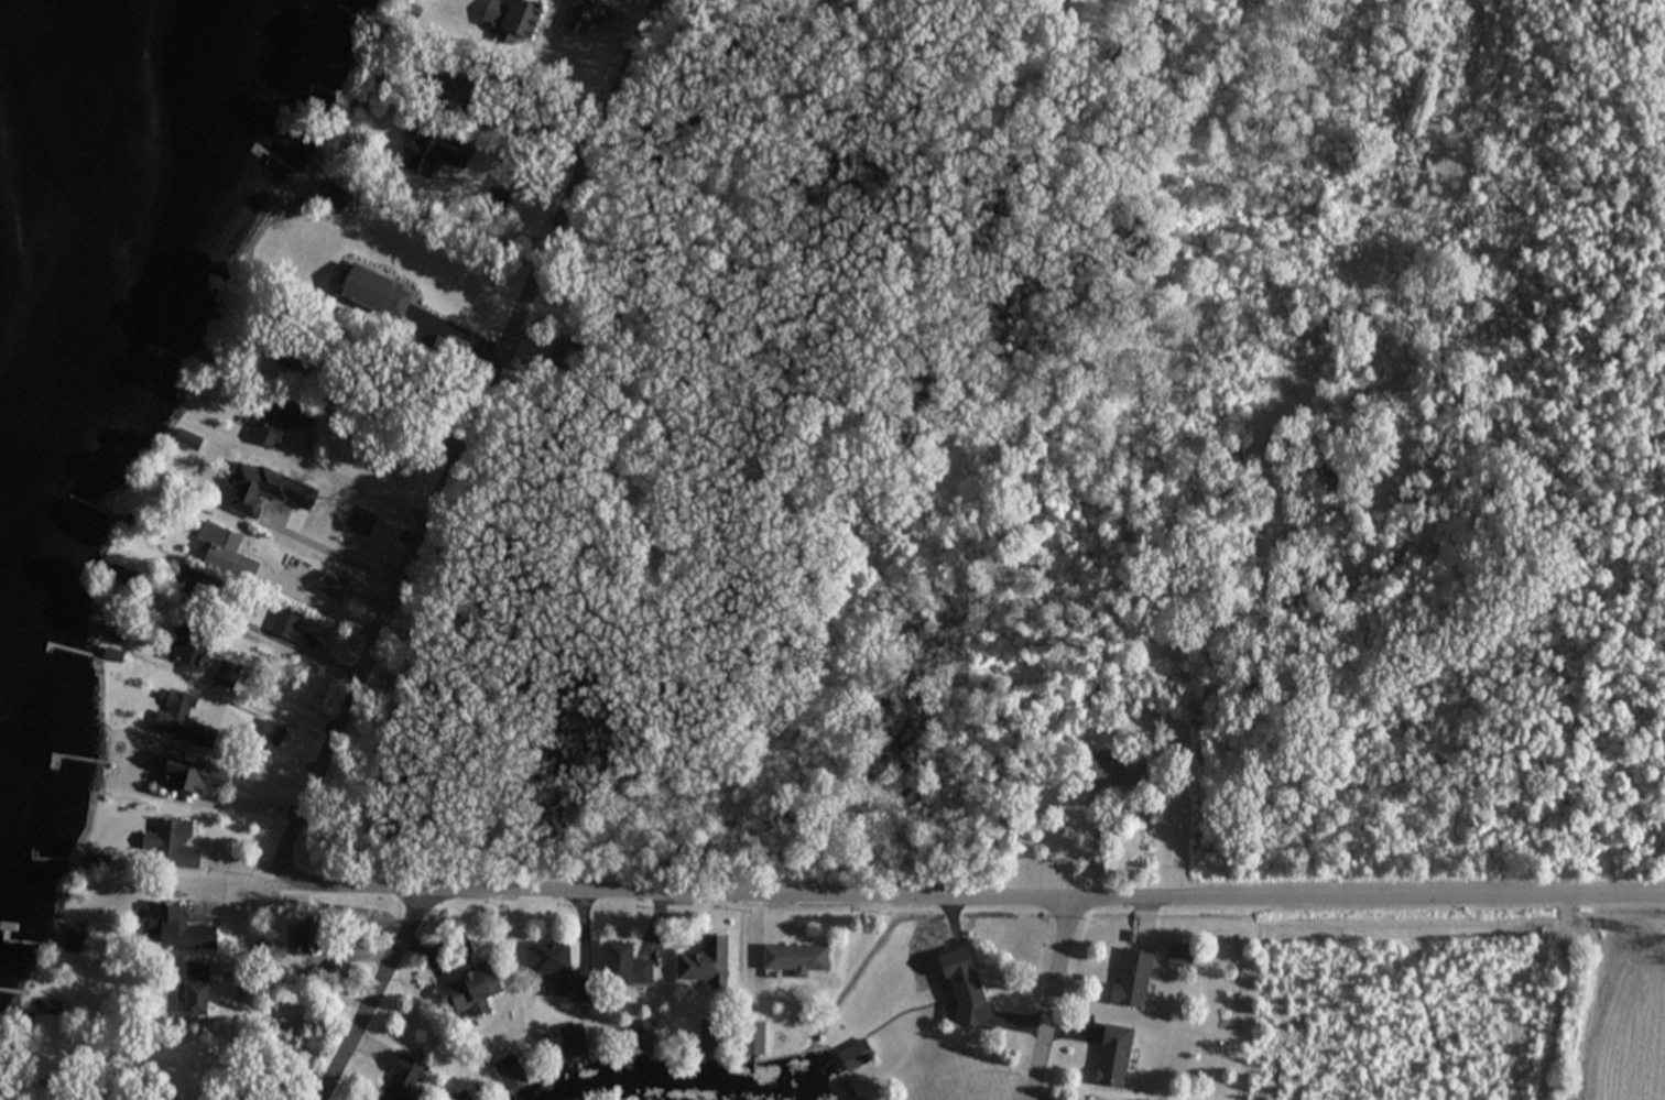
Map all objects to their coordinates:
building: (583, 18)
building: (508, 19)
building: (361, 106)
road: (516, 192)
building: (369, 294)
road: (457, 336)
building: (276, 422)
building: (184, 443)
road: (369, 489)
building: (255, 490)
road: (438, 521)
building: (215, 548)
road: (335, 554)
road: (323, 605)
building: (286, 631)
building: (181, 647)
building: (176, 722)
building: (268, 734)
road: (261, 747)
building: (1112, 772)
building: (182, 777)
building: (166, 846)
road: (935, 902)
building: (172, 928)
building: (1178, 955)
building: (793, 961)
building: (701, 963)
building: (623, 967)
building: (548, 968)
building: (1129, 978)
building: (192, 989)
building: (466, 989)
building: (965, 998)
road: (1055, 1001)
building: (50, 1009)
building: (634, 1037)
building: (751, 1039)
building: (572, 1042)
building: (709, 1042)
building: (855, 1057)
building: (1110, 1057)
building: (509, 1071)
building: (399, 1079)
building: (458, 1097)

